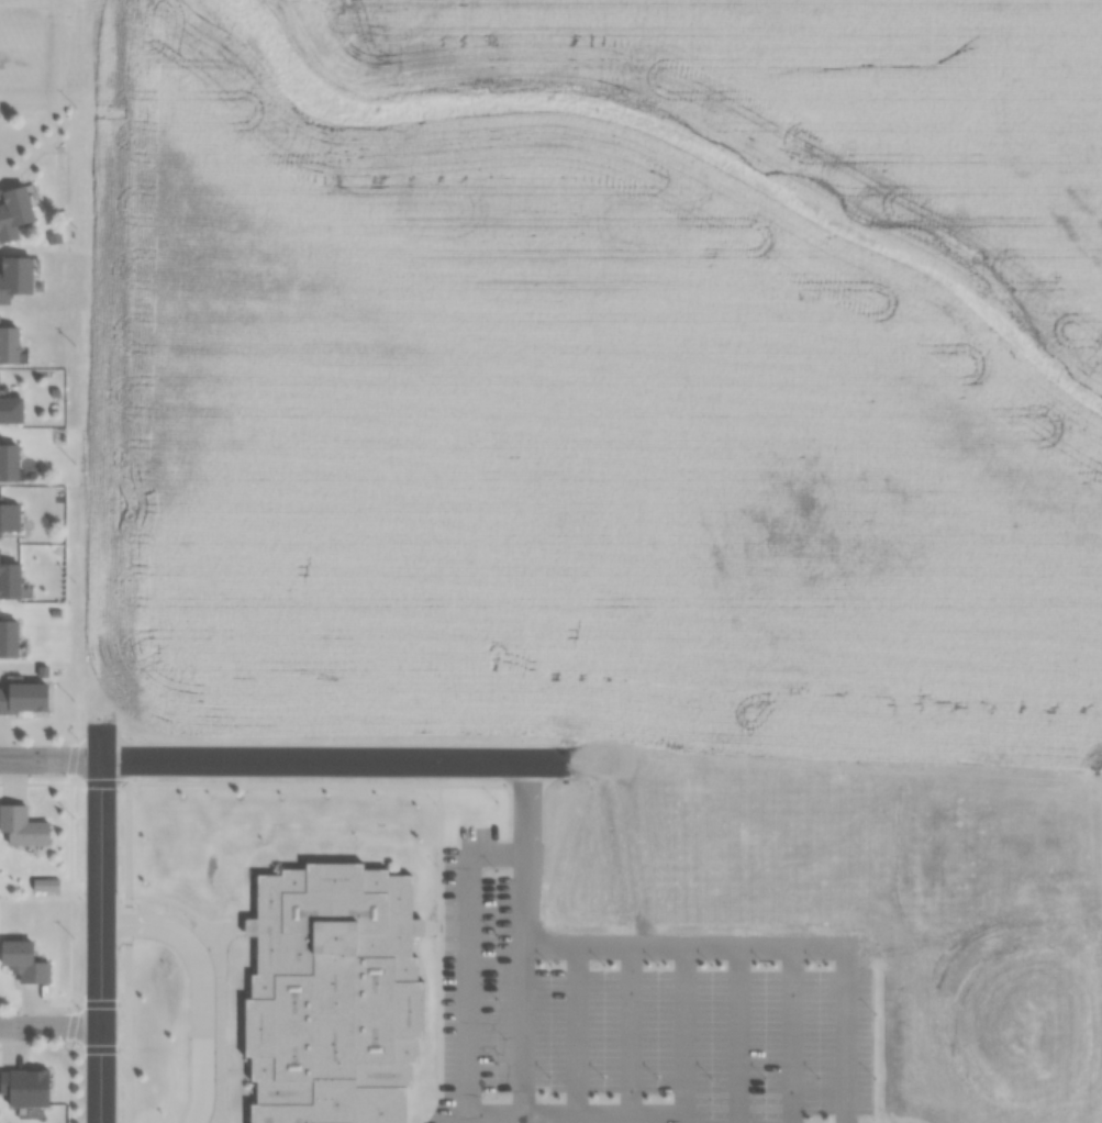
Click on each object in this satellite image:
building: (12, 211)
building: (13, 277)
building: (7, 344)
building: (10, 410)
building: (7, 463)
building: (9, 518)
building: (7, 638)
building: (21, 699)
road: (47, 759)
road: (307, 761)
building: (21, 827)
road: (94, 914)
road: (672, 949)
building: (23, 961)
road: (192, 985)
building: (324, 997)
parking lot: (631, 1021)
road: (47, 1026)
road: (460, 1070)
building: (23, 1088)

